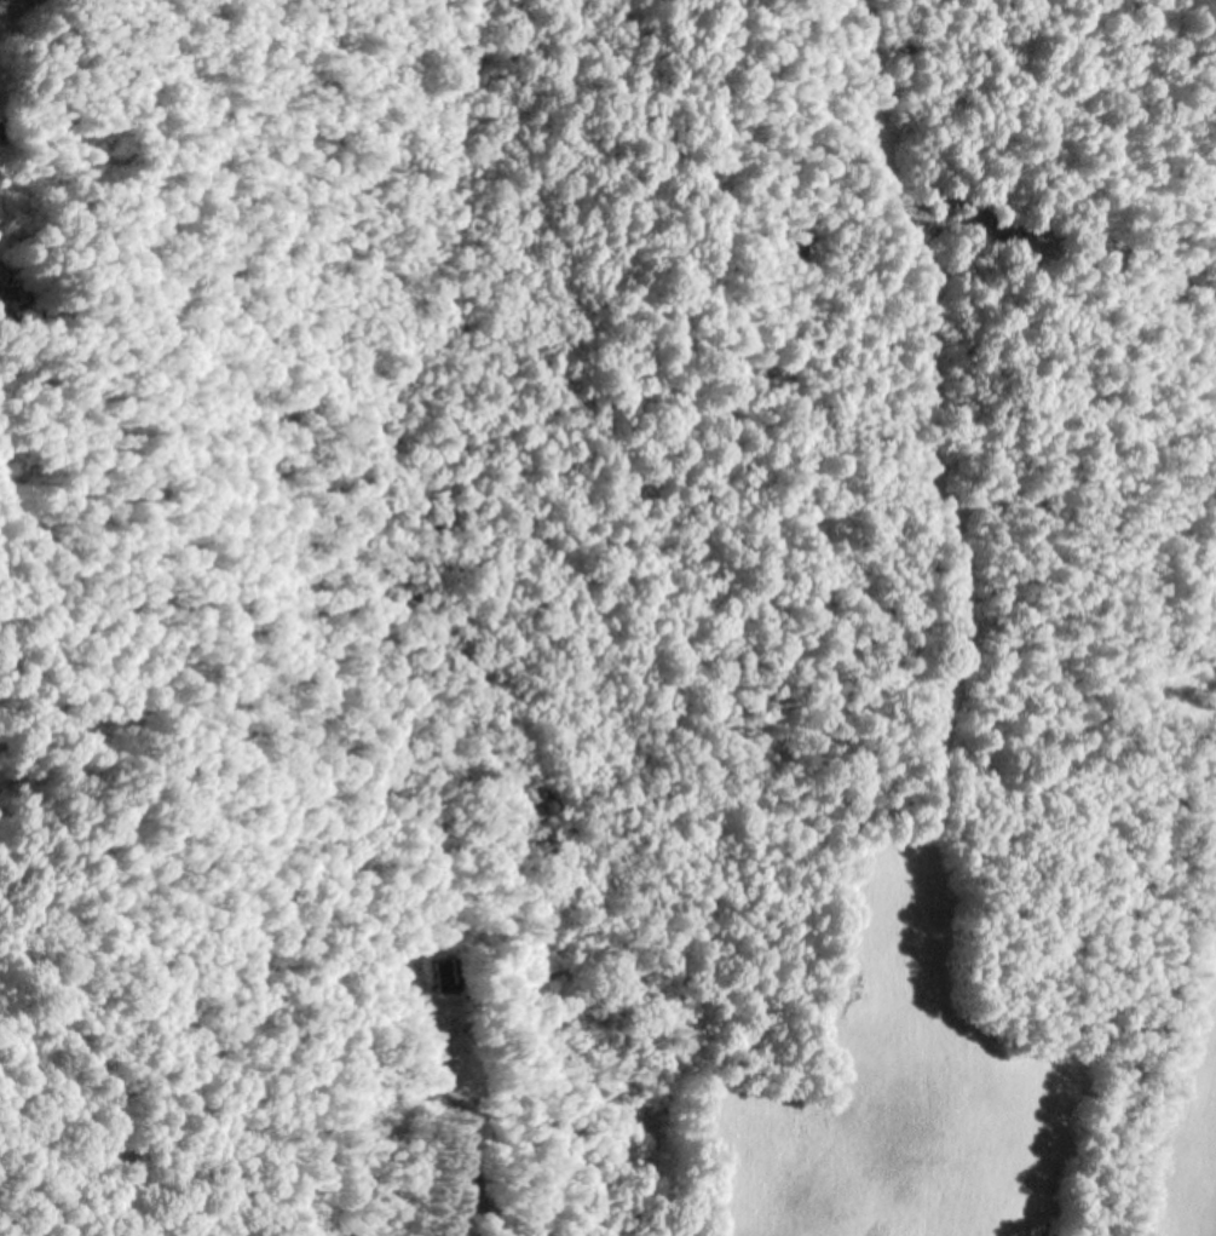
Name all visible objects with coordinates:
building: (438, 975)

